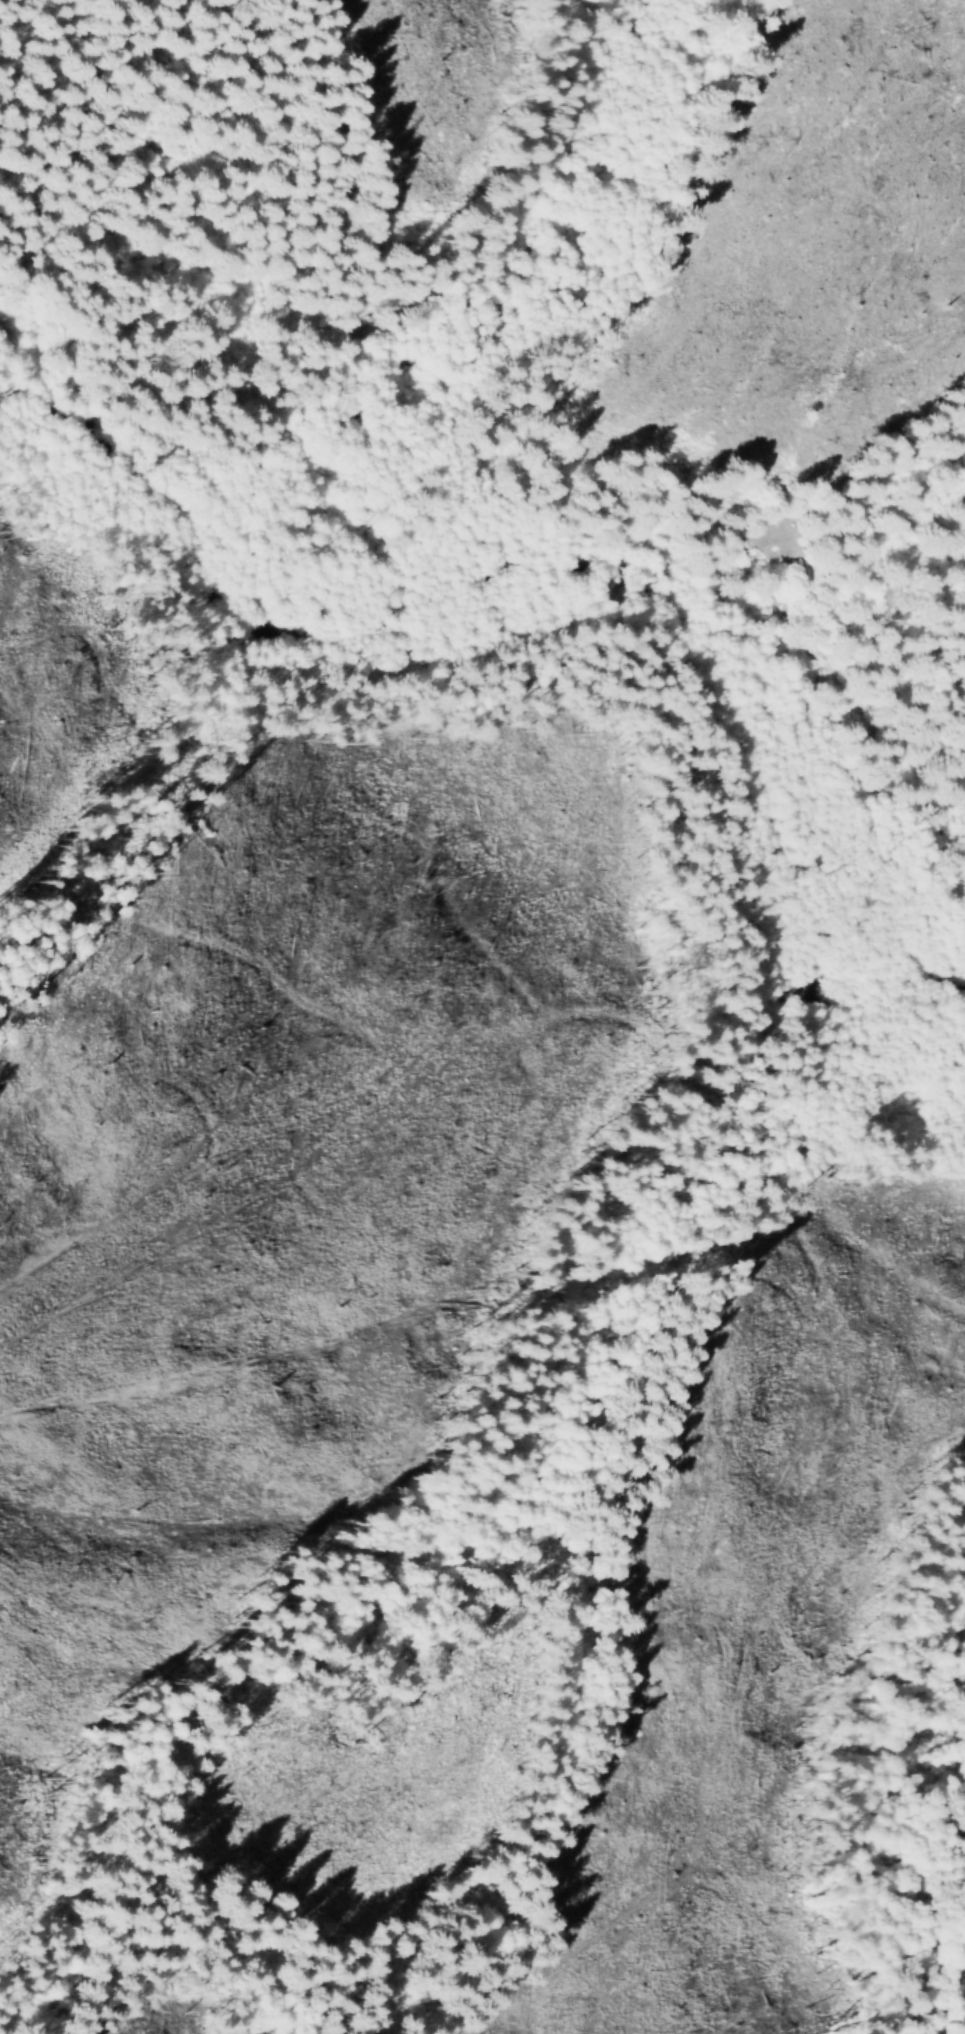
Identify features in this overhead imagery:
road: (514, 451)
road: (681, 541)
river: (559, 580)

